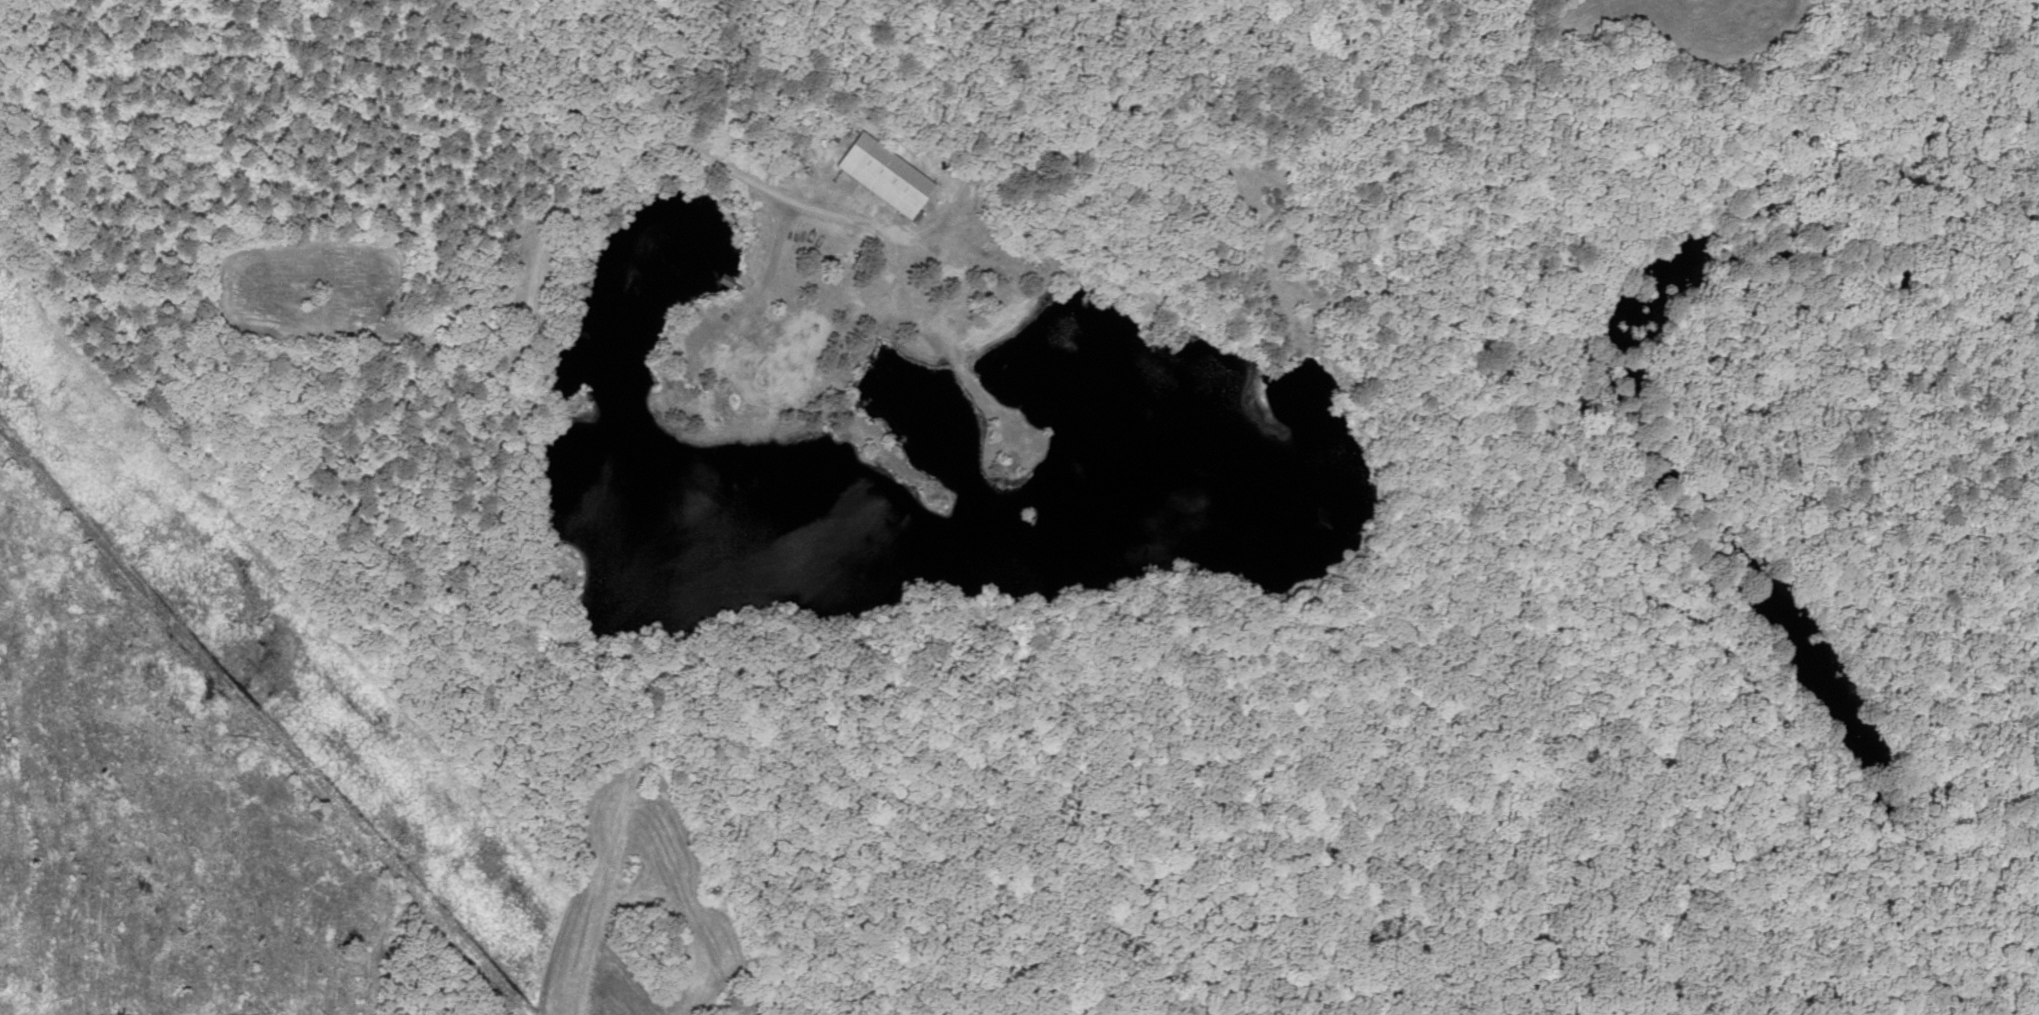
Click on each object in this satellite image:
road: (674, 135)
building: (887, 176)
power tower: (83, 506)

